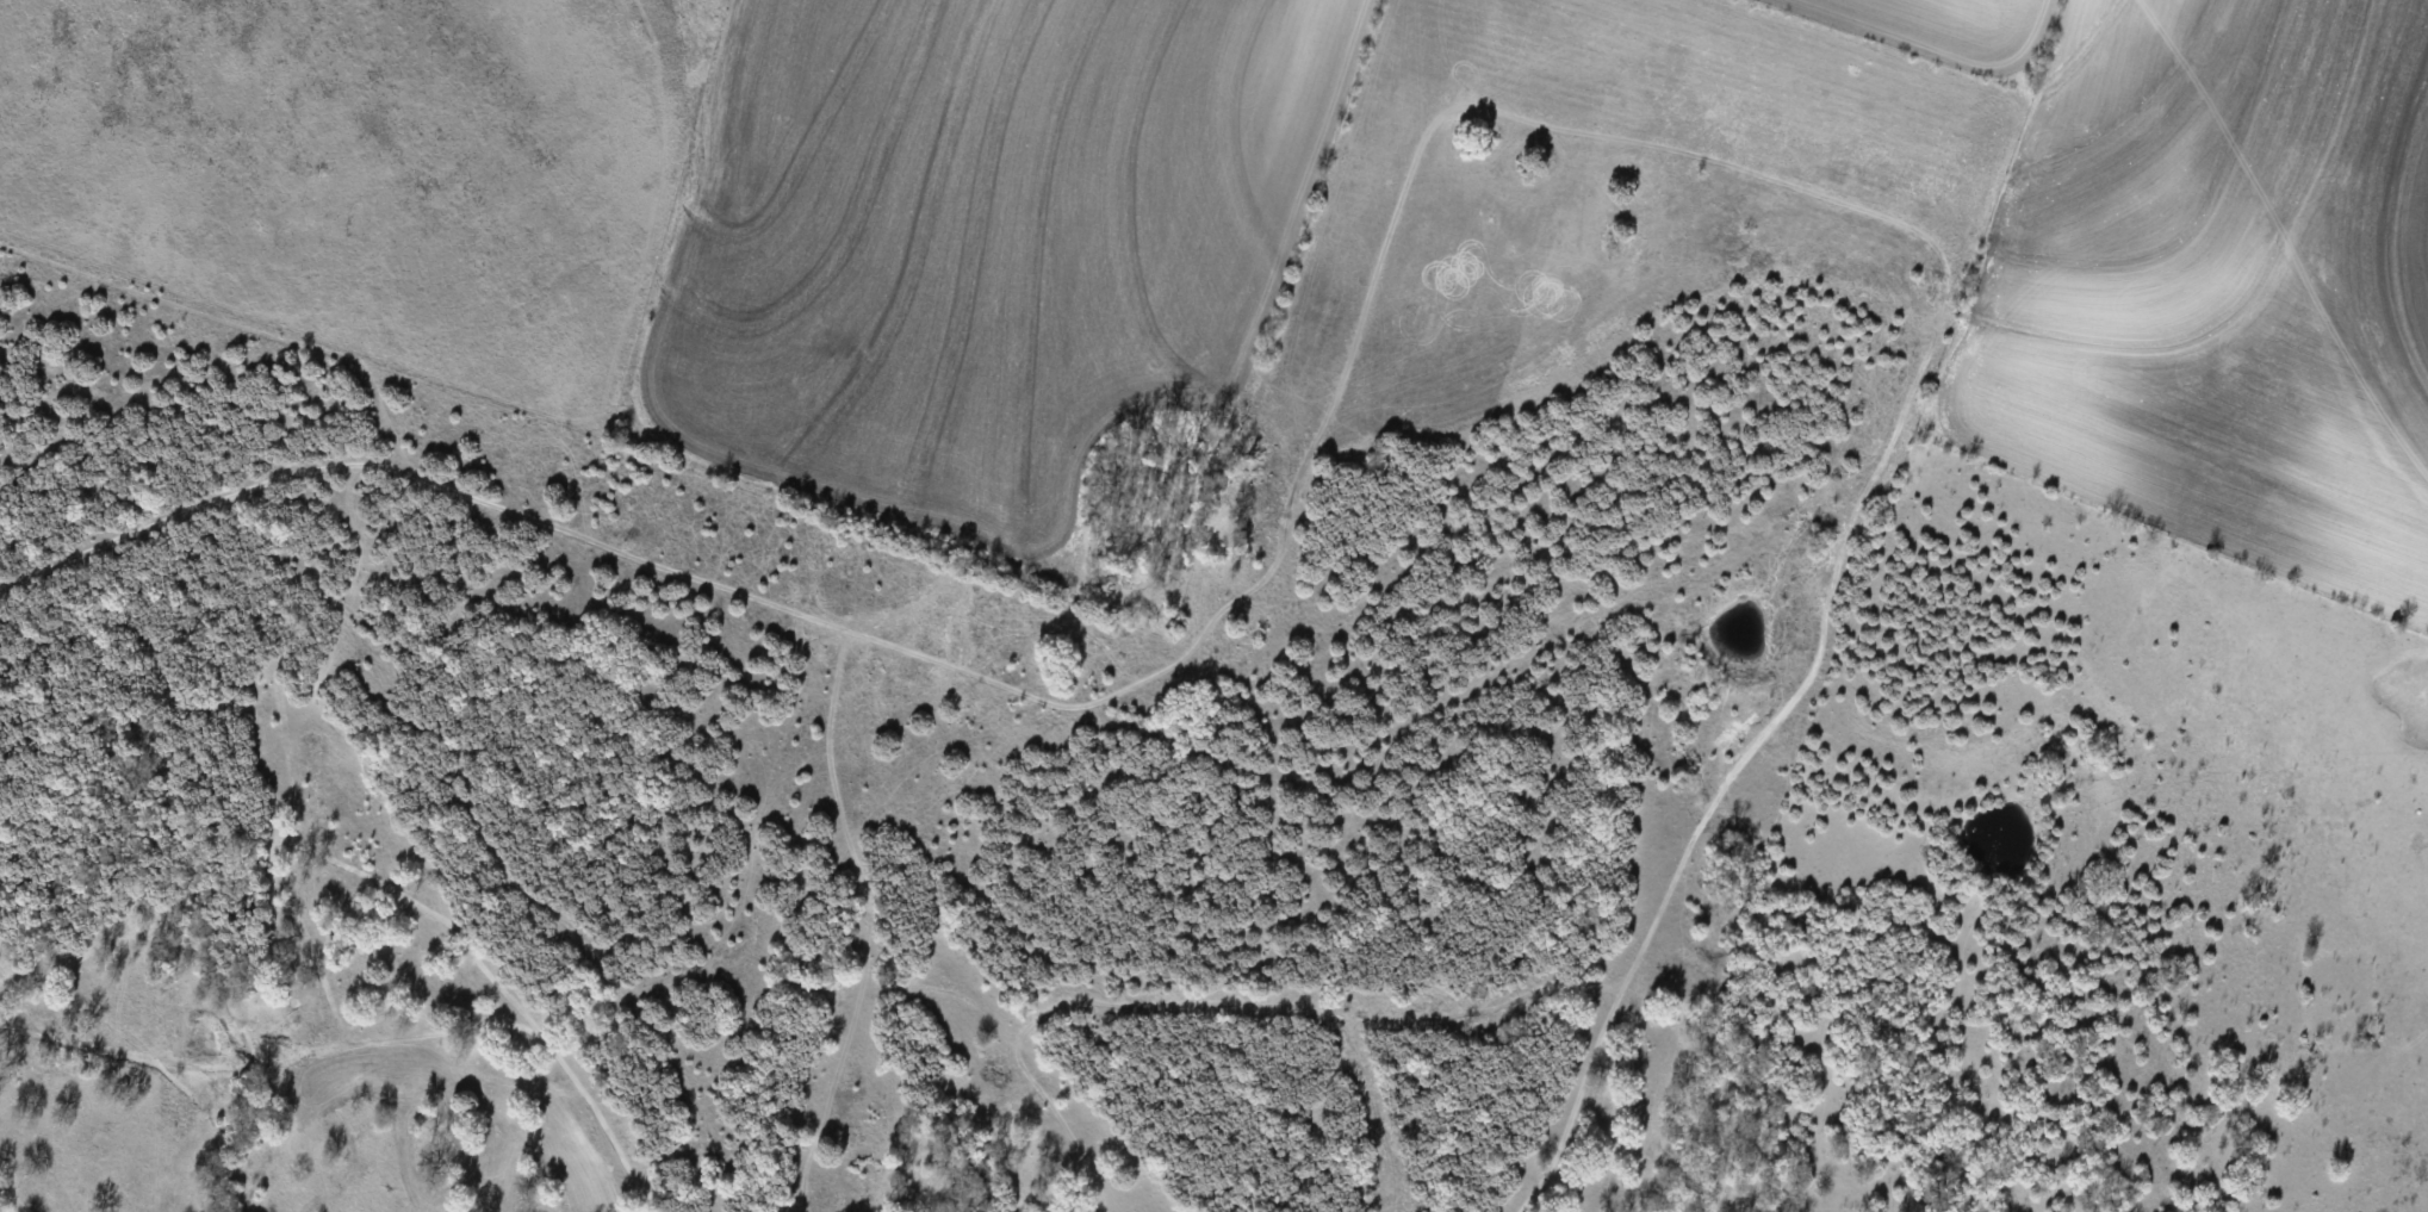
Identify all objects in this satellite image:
road: (2309, 238)

